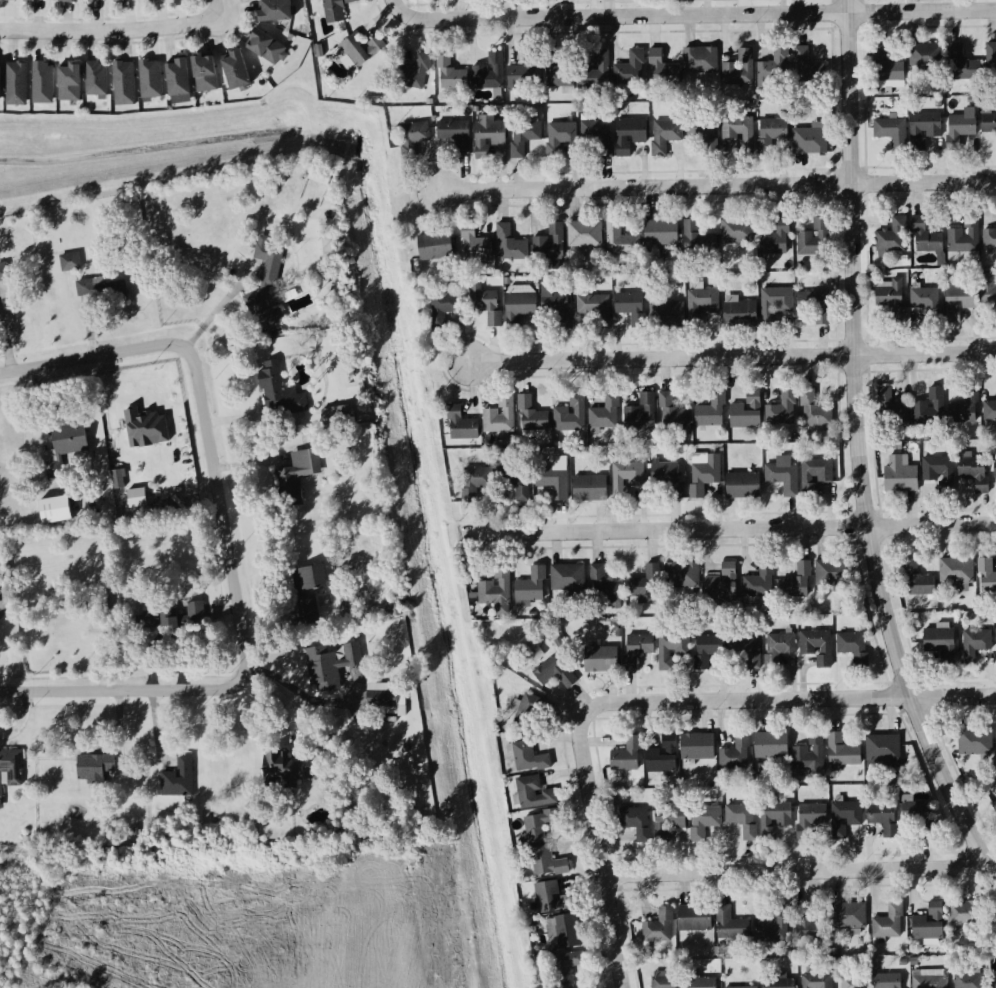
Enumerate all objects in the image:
building: (7, 0)
building: (91, 0)
building: (149, 0)
building: (32, 1)
building: (62, 1)
building: (121, 1)
road: (398, 6)
road: (222, 9)
building: (335, 10)
building: (273, 11)
road: (698, 14)
road: (112, 31)
building: (265, 49)
building: (355, 51)
building: (925, 57)
building: (700, 61)
building: (990, 61)
building: (963, 66)
building: (807, 68)
building: (774, 69)
building: (595, 70)
building: (629, 70)
building: (739, 70)
building: (887, 70)
building: (660, 71)
building: (233, 72)
building: (559, 72)
building: (413, 74)
building: (488, 74)
building: (203, 75)
building: (521, 77)
building: (175, 78)
building: (96, 79)
building: (150, 80)
building: (451, 80)
building: (42, 84)
building: (68, 84)
building: (123, 84)
building: (15, 85)
building: (0, 87)
building: (988, 123)
building: (925, 128)
building: (960, 129)
building: (702, 133)
building: (737, 133)
building: (891, 133)
building: (454, 135)
building: (770, 135)
building: (628, 136)
building: (559, 137)
building: (664, 137)
building: (487, 138)
building: (522, 138)
building: (412, 139)
building: (596, 140)
building: (809, 142)
building: (319, 176)
road: (716, 186)
building: (736, 233)
building: (660, 234)
building: (584, 236)
building: (892, 237)
building: (813, 239)
building: (925, 239)
building: (696, 240)
building: (775, 240)
building: (989, 240)
building: (963, 241)
building: (620, 242)
building: (473, 245)
building: (548, 245)
building: (509, 246)
building: (434, 248)
building: (69, 263)
building: (3, 273)
building: (266, 281)
building: (102, 293)
building: (888, 295)
building: (988, 296)
building: (959, 298)
building: (924, 299)
building: (553, 304)
building: (484, 305)
building: (700, 305)
building: (774, 305)
building: (813, 306)
building: (629, 307)
building: (594, 308)
building: (443, 309)
building: (518, 309)
building: (739, 313)
building: (666, 316)
road: (730, 356)
building: (279, 394)
building: (965, 408)
building: (929, 409)
building: (781, 411)
building: (891, 411)
building: (989, 412)
building: (710, 413)
building: (813, 413)
building: (605, 414)
building: (745, 414)
building: (639, 415)
building: (569, 416)
building: (671, 416)
building: (499, 417)
building: (530, 417)
building: (337, 418)
building: (460, 425)
building: (64, 445)
road: (859, 449)
building: (300, 468)
building: (935, 468)
building: (994, 471)
building: (973, 473)
building: (703, 474)
building: (814, 476)
building: (899, 476)
building: (667, 478)
building: (625, 479)
building: (782, 479)
building: (118, 480)
building: (552, 482)
building: (474, 483)
building: (515, 483)
building: (741, 486)
building: (288, 488)
building: (589, 488)
building: (137, 499)
building: (55, 511)
road: (732, 529)
road: (225, 540)
building: (1, 565)
building: (955, 572)
building: (831, 575)
building: (681, 576)
building: (986, 577)
building: (567, 578)
building: (917, 581)
building: (759, 582)
building: (797, 582)
building: (645, 583)
building: (721, 585)
building: (604, 587)
building: (530, 588)
building: (495, 592)
building: (307, 593)
building: (95, 607)
building: (171, 618)
building: (995, 638)
building: (937, 641)
building: (973, 645)
building: (816, 647)
building: (746, 648)
building: (853, 648)
building: (637, 649)
building: (777, 649)
building: (671, 650)
building: (707, 650)
building: (599, 660)
building: (330, 666)
building: (553, 674)
road: (305, 695)
road: (791, 699)
building: (381, 700)
building: (527, 711)
building: (974, 743)
building: (770, 746)
building: (696, 747)
building: (881, 748)
building: (841, 751)
building: (809, 754)
building: (735, 755)
building: (625, 757)
building: (661, 757)
building: (528, 759)
building: (279, 766)
building: (92, 768)
building: (10, 769)
building: (178, 779)
building: (534, 794)
building: (705, 818)
building: (809, 818)
building: (882, 818)
building: (916, 818)
building: (773, 819)
building: (844, 819)
building: (741, 820)
building: (667, 822)
building: (635, 823)
building: (538, 825)
road: (600, 848)
building: (546, 863)
road: (797, 869)
building: (550, 898)
building: (963, 914)
building: (847, 916)
building: (693, 919)
building: (887, 924)
building: (927, 924)
building: (730, 925)
building: (772, 926)
building: (808, 926)
building: (658, 928)
building: (564, 932)
building: (565, 968)
building: (666, 980)
building: (816, 981)
building: (887, 981)
building: (967, 981)
building: (995, 981)
building: (777, 982)
building: (853, 982)
building: (929, 982)
building: (703, 983)

